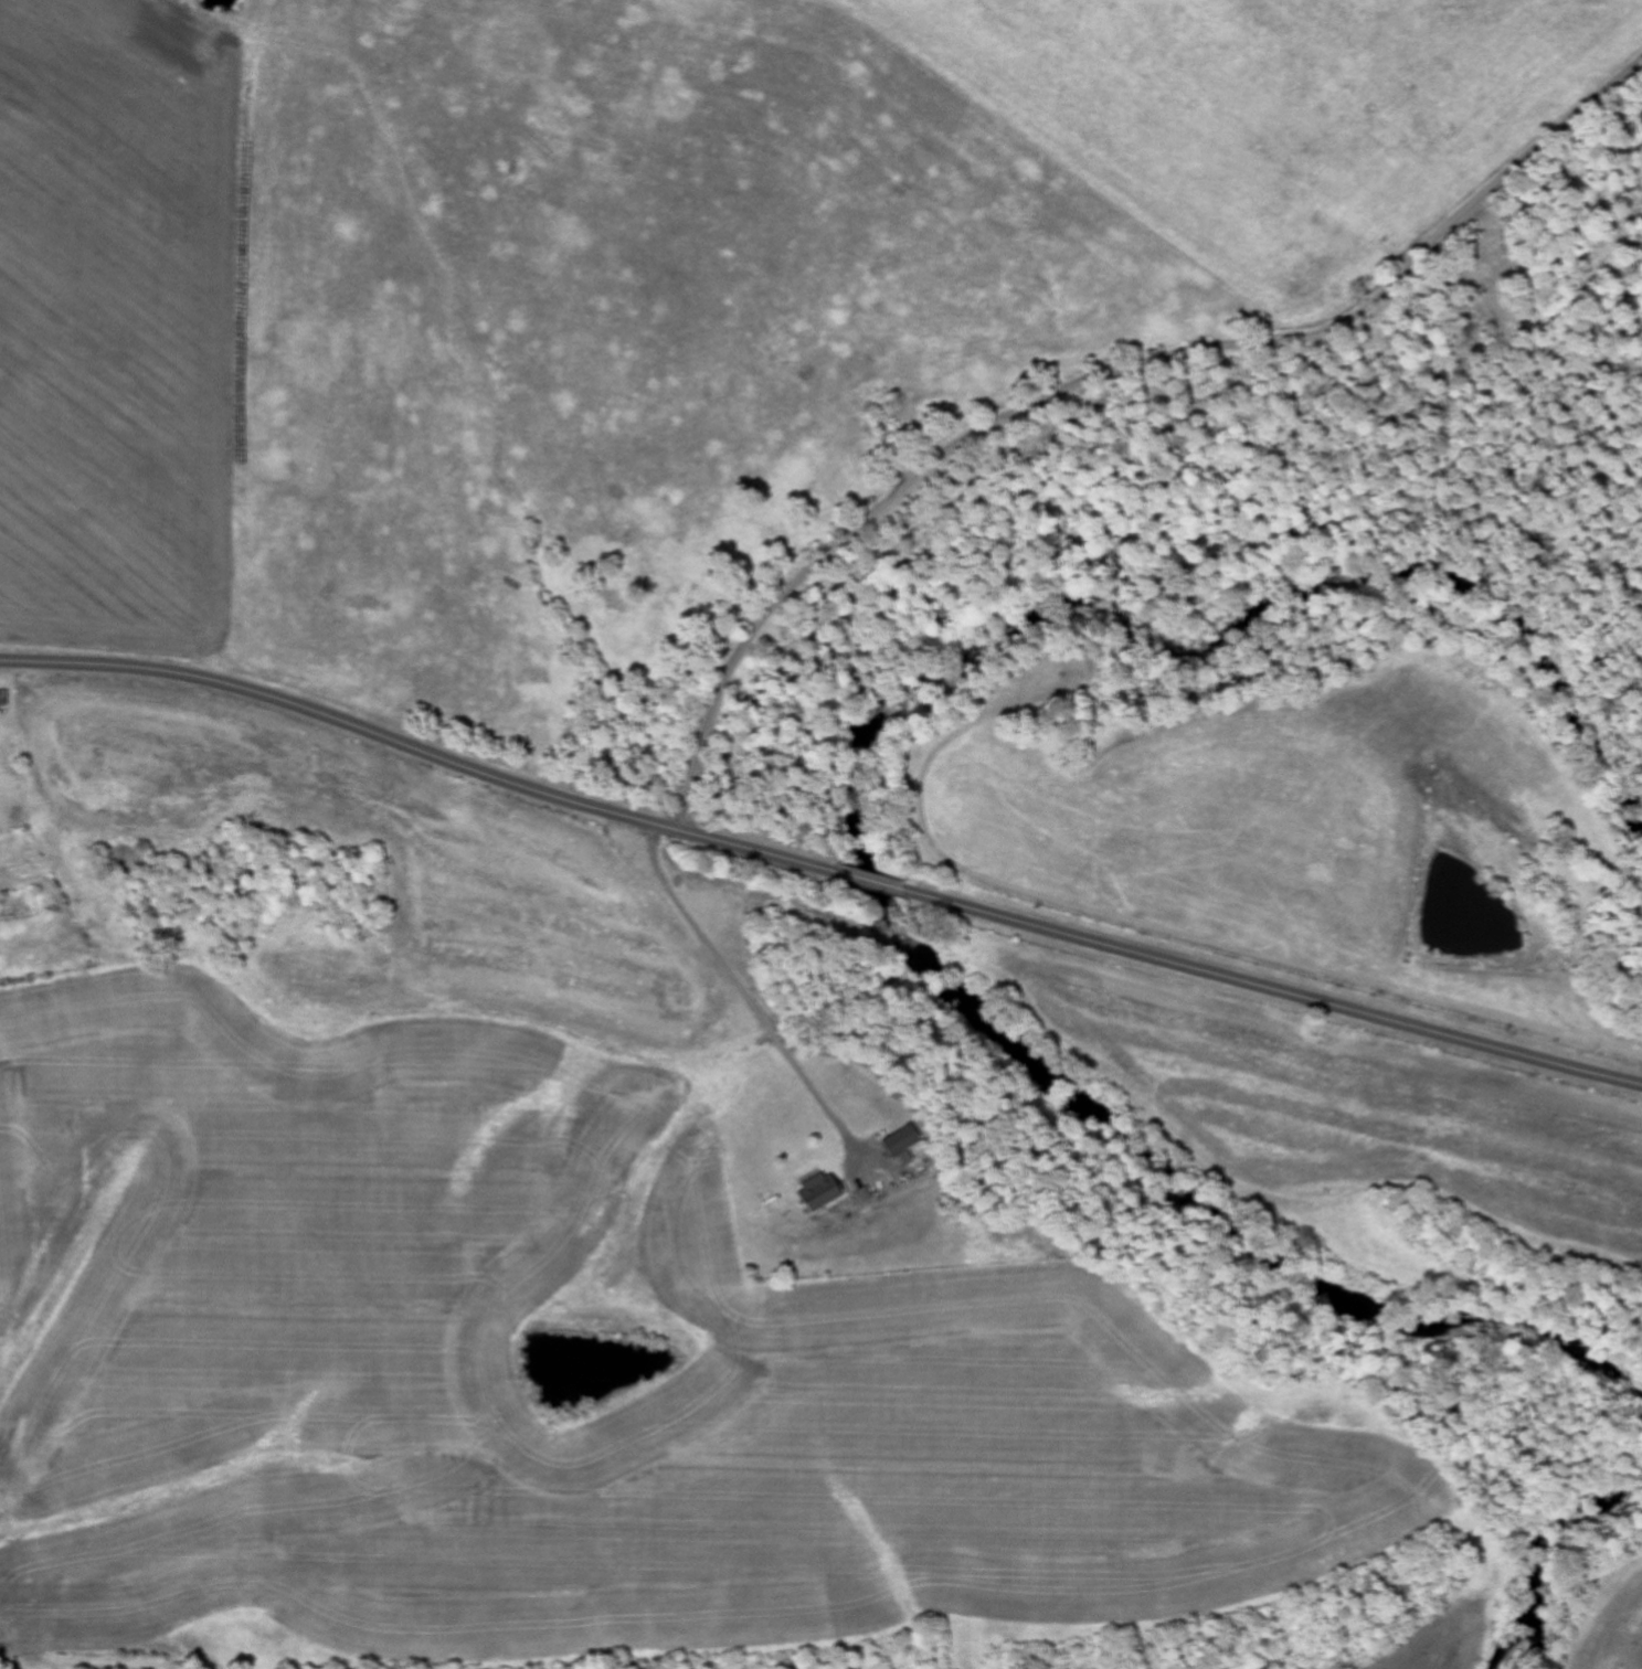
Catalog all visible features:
road: (1100, 383)
building: (3, 700)
road: (819, 868)
road: (703, 923)
building: (899, 1146)
building: (865, 1195)
building: (819, 1197)

